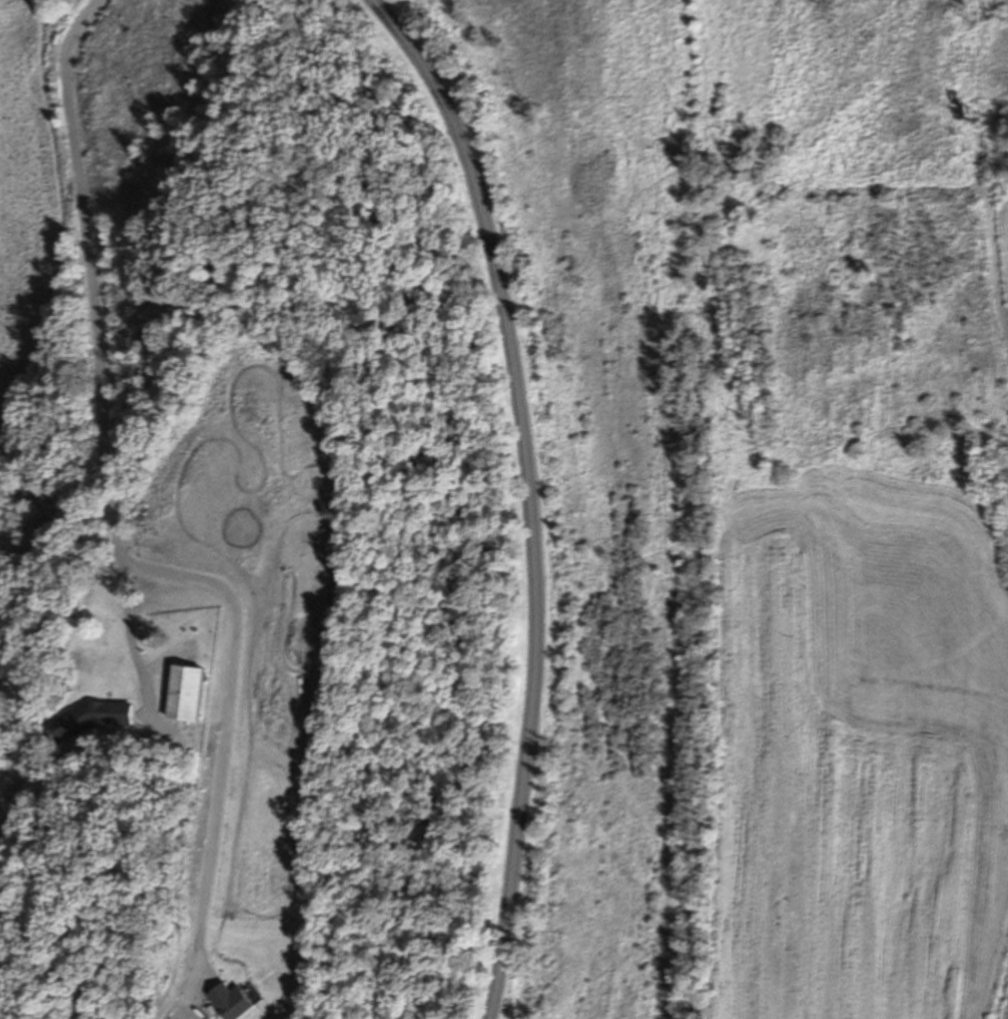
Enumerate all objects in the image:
road: (101, 354)
road: (528, 494)
building: (189, 691)
building: (92, 717)
road: (231, 723)

